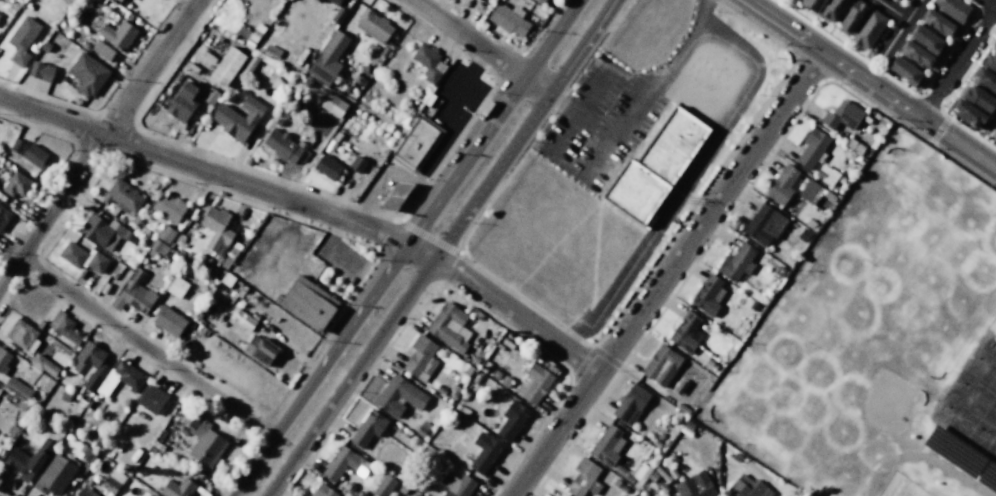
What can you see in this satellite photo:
building: (120, 0)
building: (283, 0)
building: (541, 0)
building: (797, 0)
building: (895, 0)
building: (898, 0)
building: (116, 1)
building: (318, 1)
building: (334, 2)
building: (812, 4)
road: (990, 4)
building: (952, 9)
building: (831, 10)
road: (891, 10)
building: (338, 15)
building: (851, 15)
building: (508, 18)
building: (937, 23)
building: (373, 25)
road: (983, 25)
building: (869, 27)
road: (898, 31)
building: (118, 34)
building: (251, 35)
building: (22, 39)
building: (927, 39)
building: (994, 43)
road: (481, 45)
building: (45, 47)
building: (102, 50)
road: (683, 51)
building: (271, 52)
building: (916, 55)
building: (327, 58)
road: (957, 62)
building: (991, 62)
building: (427, 63)
building: (226, 66)
building: (248, 67)
building: (363, 69)
building: (40, 71)
building: (904, 71)
building: (87, 74)
building: (359, 80)
building: (987, 80)
building: (305, 82)
road: (628, 82)
road: (896, 83)
road: (872, 85)
building: (345, 89)
road: (949, 95)
building: (209, 96)
building: (979, 98)
road: (449, 100)
building: (182, 102)
building: (333, 104)
road: (928, 104)
road: (578, 113)
building: (968, 113)
building: (285, 114)
building: (842, 115)
building: (238, 117)
building: (277, 121)
road: (991, 129)
road: (939, 131)
road: (99, 143)
building: (416, 144)
building: (283, 146)
building: (854, 146)
building: (812, 148)
building: (29, 152)
building: (357, 164)
building: (653, 164)
building: (326, 168)
building: (826, 174)
building: (17, 184)
building: (781, 184)
building: (810, 191)
building: (394, 196)
building: (122, 198)
building: (169, 208)
road: (312, 208)
building: (4, 216)
building: (818, 216)
building: (807, 221)
building: (764, 224)
building: (216, 229)
building: (105, 231)
building: (165, 234)
building: (804, 235)
road: (405, 247)
building: (157, 248)
road: (440, 249)
building: (84, 257)
building: (737, 262)
road: (666, 273)
building: (176, 287)
building: (133, 293)
building: (216, 294)
building: (708, 295)
building: (306, 303)
building: (753, 306)
building: (241, 319)
building: (168, 321)
building: (62, 326)
building: (448, 326)
building: (684, 331)
building: (21, 335)
building: (994, 336)
road: (147, 348)
building: (260, 349)
building: (420, 358)
building: (3, 361)
building: (42, 364)
building: (89, 364)
building: (661, 365)
building: (495, 375)
building: (123, 376)
building: (504, 381)
building: (533, 383)
building: (16, 388)
building: (399, 396)
building: (151, 399)
park: (888, 403)
building: (631, 404)
building: (682, 408)
building: (511, 420)
building: (367, 428)
building: (422, 428)
building: (203, 440)
building: (656, 443)
building: (607, 445)
building: (483, 452)
building: (954, 452)
building: (87, 455)
building: (736, 457)
building: (27, 460)
building: (343, 463)
building: (632, 473)
building: (652, 475)
building: (53, 476)
building: (582, 476)
building: (988, 477)
building: (112, 481)
building: (615, 482)
building: (383, 485)
building: (457, 485)
building: (699, 486)
building: (746, 487)
building: (178, 488)
building: (623, 488)
building: (322, 491)
building: (84, 492)
building: (149, 495)
building: (150, 495)

